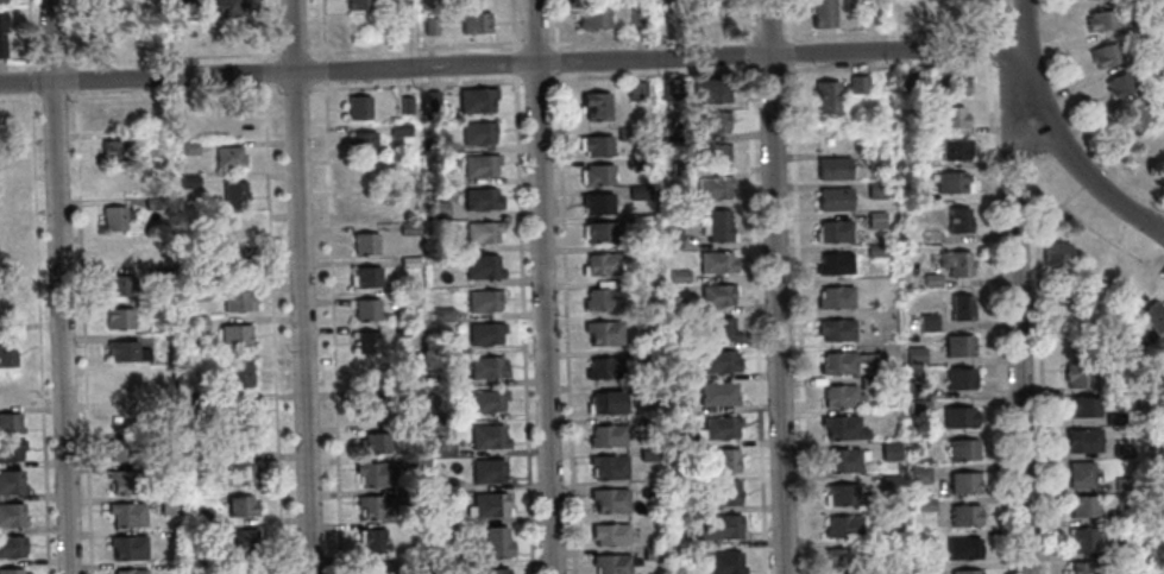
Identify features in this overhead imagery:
building: (4, 1)
building: (1143, 1)
building: (357, 4)
building: (112, 7)
building: (219, 8)
building: (946, 8)
building: (896, 11)
building: (820, 14)
building: (869, 15)
road: (984, 17)
building: (635, 18)
building: (592, 19)
building: (473, 21)
building: (1100, 21)
building: (428, 24)
road: (554, 24)
road: (511, 25)
road: (1049, 26)
road: (996, 27)
road: (1023, 27)
road: (321, 30)
road: (260, 31)
building: (4, 33)
road: (71, 33)
building: (112, 38)
road: (527, 44)
road: (986, 45)
road: (414, 49)
road: (292, 52)
road: (170, 57)
building: (1105, 57)
road: (555, 59)
road: (50, 63)
road: (512, 63)
road: (19, 64)
road: (511, 65)
road: (766, 69)
road: (322, 70)
road: (263, 71)
road: (73, 78)
building: (905, 78)
road: (534, 80)
road: (414, 83)
building: (948, 83)
building: (1116, 86)
road: (30, 88)
road: (292, 88)
building: (668, 88)
building: (635, 90)
building: (709, 90)
building: (835, 92)
road: (172, 93)
road: (52, 97)
road: (19, 99)
building: (474, 99)
building: (432, 100)
building: (404, 105)
building: (594, 105)
road: (1088, 105)
building: (357, 107)
building: (118, 115)
building: (950, 115)
building: (1138, 115)
building: (4, 120)
building: (709, 121)
building: (398, 130)
building: (477, 131)
building: (625, 133)
building: (668, 137)
building: (360, 141)
building: (436, 144)
building: (594, 145)
building: (187, 147)
building: (952, 147)
building: (113, 151)
building: (710, 154)
building: (227, 156)
building: (5, 159)
building: (874, 159)
building: (913, 159)
building: (401, 163)
building: (636, 163)
building: (478, 164)
building: (679, 168)
building: (830, 168)
building: (596, 174)
building: (361, 175)
building: (442, 176)
road: (1086, 177)
building: (187, 181)
building: (949, 181)
road: (1084, 182)
building: (117, 184)
building: (711, 187)
building: (873, 188)
building: (232, 193)
building: (637, 193)
building: (913, 194)
building: (7, 195)
building: (831, 197)
building: (479, 198)
building: (681, 201)
building: (153, 203)
building: (596, 203)
building: (363, 208)
building: (438, 209)
building: (114, 217)
building: (874, 219)
building: (955, 219)
building: (638, 223)
building: (717, 226)
building: (407, 227)
building: (234, 229)
building: (7, 231)
building: (479, 231)
building: (598, 231)
building: (832, 231)
building: (927, 235)
building: (165, 236)
building: (668, 238)
road: (1110, 241)
building: (363, 244)
building: (875, 250)
building: (118, 252)
building: (640, 252)
building: (191, 253)
building: (1052, 254)
building: (715, 261)
building: (955, 261)
building: (407, 263)
building: (831, 263)
building: (598, 264)
building: (480, 265)
building: (233, 266)
building: (157, 276)
building: (675, 276)
building: (365, 277)
building: (930, 279)
road: (1013, 282)
building: (119, 285)
road: (754, 285)
road: (58, 286)
road: (301, 286)
road: (542, 286)
road: (774, 286)
road: (798, 286)
building: (197, 292)
building: (716, 295)
building: (832, 296)
building: (600, 298)
building: (1051, 298)
building: (237, 299)
building: (482, 301)
building: (6, 303)
building: (959, 307)
building: (678, 308)
building: (155, 309)
building: (365, 309)
building: (441, 313)
road: (995, 315)
building: (1153, 315)
building: (117, 317)
building: (925, 321)
road: (564, 322)
building: (194, 324)
road: (521, 324)
road: (331, 327)
road: (271, 328)
building: (716, 328)
building: (402, 329)
building: (833, 329)
road: (81, 332)
building: (602, 332)
road: (37, 333)
building: (483, 333)
building: (233, 334)
building: (1163, 340)
building: (364, 342)
building: (679, 342)
building: (956, 345)
building: (124, 351)
building: (6, 352)
building: (913, 354)
building: (642, 355)
building: (193, 358)
building: (718, 360)
building: (835, 361)
road: (1038, 362)
building: (485, 367)
building: (603, 367)
building: (1145, 367)
building: (234, 373)
building: (681, 374)
building: (1076, 374)
building: (956, 377)
building: (443, 378)
building: (1140, 380)
building: (867, 381)
building: (119, 384)
building: (914, 387)
building: (1115, 387)
building: (637, 389)
building: (10, 390)
building: (716, 392)
building: (841, 395)
building: (410, 396)
building: (486, 399)
building: (603, 402)
building: (678, 404)
building: (916, 405)
building: (1080, 405)
building: (372, 408)
building: (237, 410)
building: (956, 416)
building: (126, 417)
building: (1114, 418)
building: (8, 422)
building: (649, 424)
building: (719, 427)
building: (841, 427)
building: (413, 430)
building: (604, 435)
building: (486, 436)
building: (678, 439)
building: (914, 439)
building: (1080, 439)
building: (237, 442)
building: (373, 442)
building: (443, 444)
building: (959, 448)
building: (10, 449)
building: (122, 449)
building: (888, 450)
building: (1120, 450)
building: (646, 454)
building: (838, 459)
building: (725, 460)
building: (417, 461)
building: (1162, 462)
building: (606, 466)
building: (166, 468)
building: (486, 471)
building: (239, 473)
building: (376, 473)
building: (918, 473)
building: (1077, 473)
building: (124, 480)
building: (10, 481)
building: (962, 481)
building: (1121, 482)
building: (443, 484)
building: (889, 484)
building: (725, 492)
building: (416, 493)
building: (839, 493)
building: (608, 499)
building: (1159, 500)
building: (166, 504)
building: (921, 504)
building: (238, 505)
building: (486, 505)
building: (1081, 505)
building: (377, 506)
building: (125, 513)
building: (10, 515)
building: (962, 515)
building: (1124, 515)
building: (201, 516)
building: (446, 517)
building: (715, 525)
building: (841, 525)
building: (608, 534)
building: (1080, 538)
building: (238, 540)
building: (372, 540)
building: (495, 541)
building: (886, 544)
building: (11, 545)
building: (126, 545)
building: (961, 547)
building: (1119, 549)
building: (199, 553)
building: (650, 553)
building: (843, 557)
building: (410, 560)
building: (723, 562)
building: (610, 563)
building: (241, 567)
building: (375, 567)
building: (1083, 567)
building: (921, 568)
building: (11, 570)
building: (127, 570)
building: (490, 570)
building: (963, 572)

